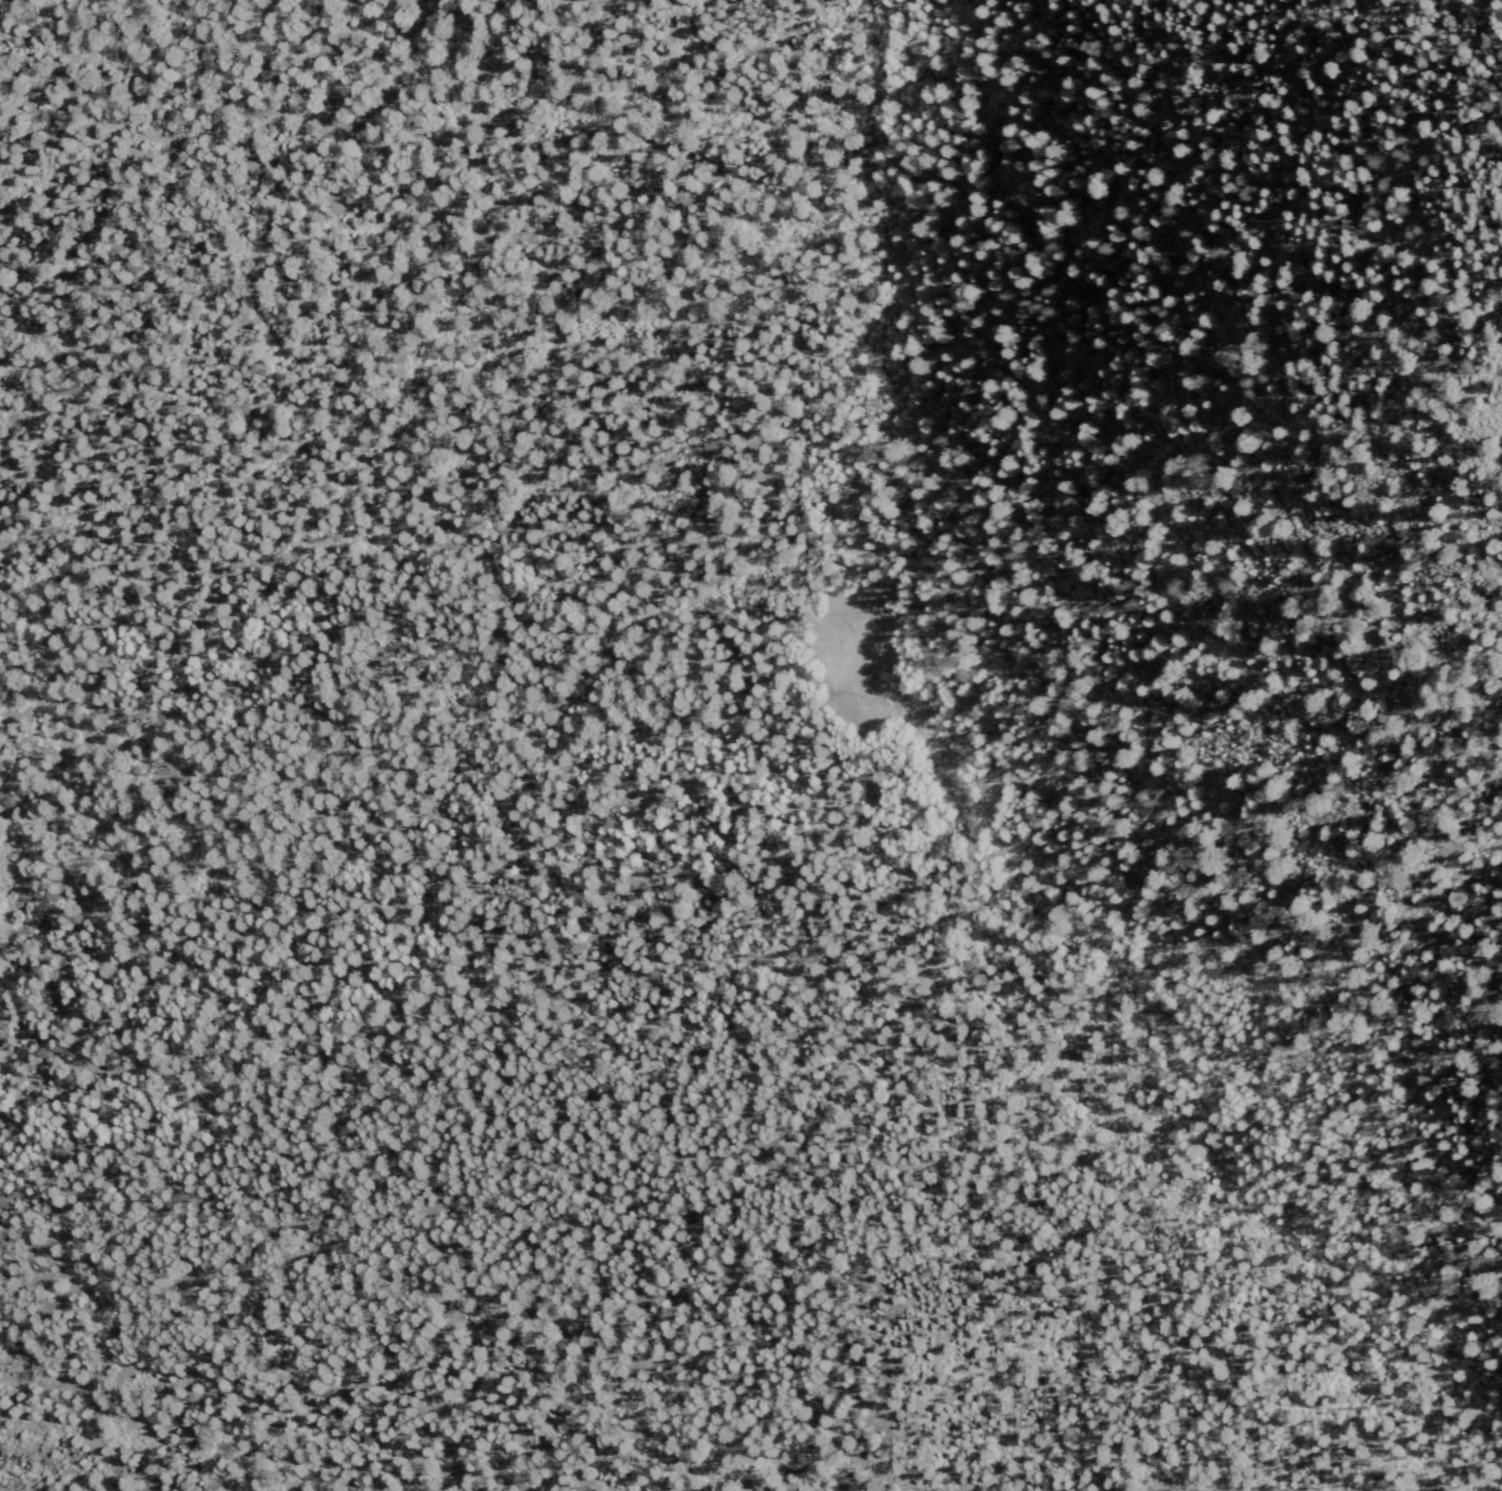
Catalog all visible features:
road: (1013, 752)

